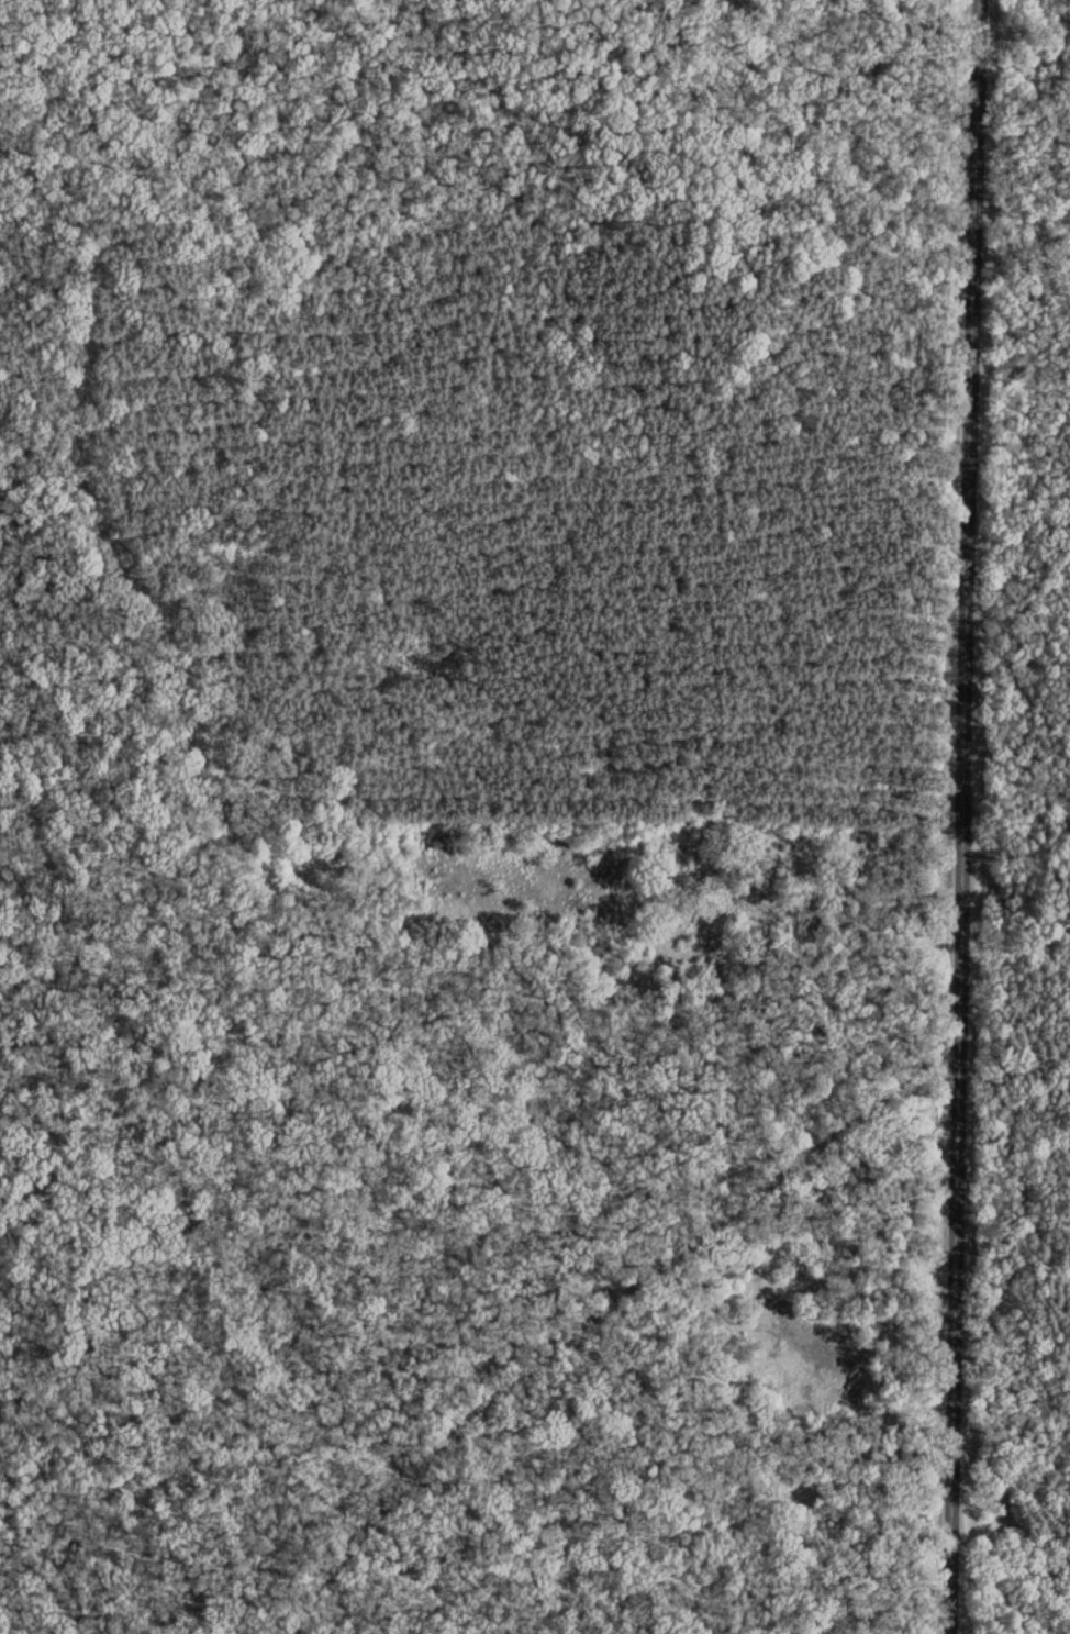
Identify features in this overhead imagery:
road: (960, 816)
road: (600, 1310)

